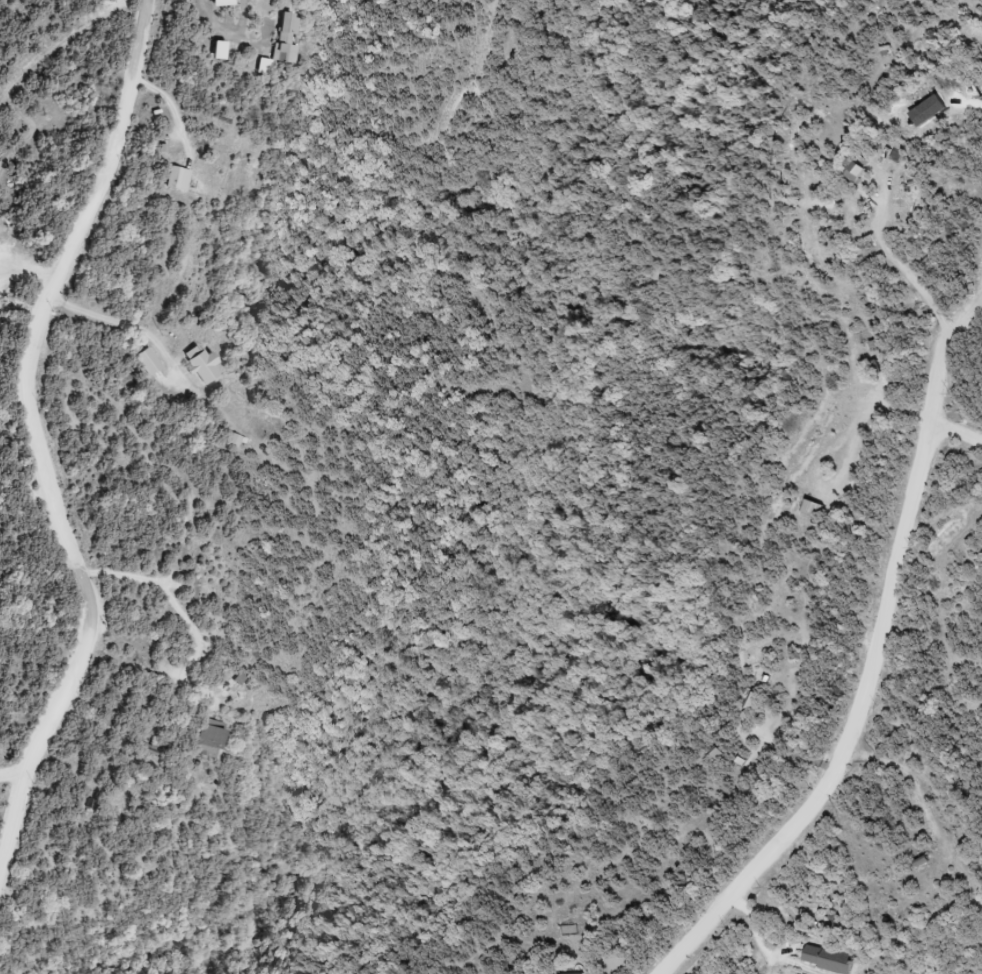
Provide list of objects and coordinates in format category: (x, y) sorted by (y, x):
road: (230, 29)
building: (293, 38)
building: (862, 172)
building: (182, 179)
road: (121, 316)
building: (152, 362)
building: (210, 366)
road: (32, 388)
road: (960, 430)
road: (182, 611)
road: (870, 635)
building: (218, 741)
road: (15, 770)
road: (15, 806)
building: (571, 932)
building: (834, 960)

